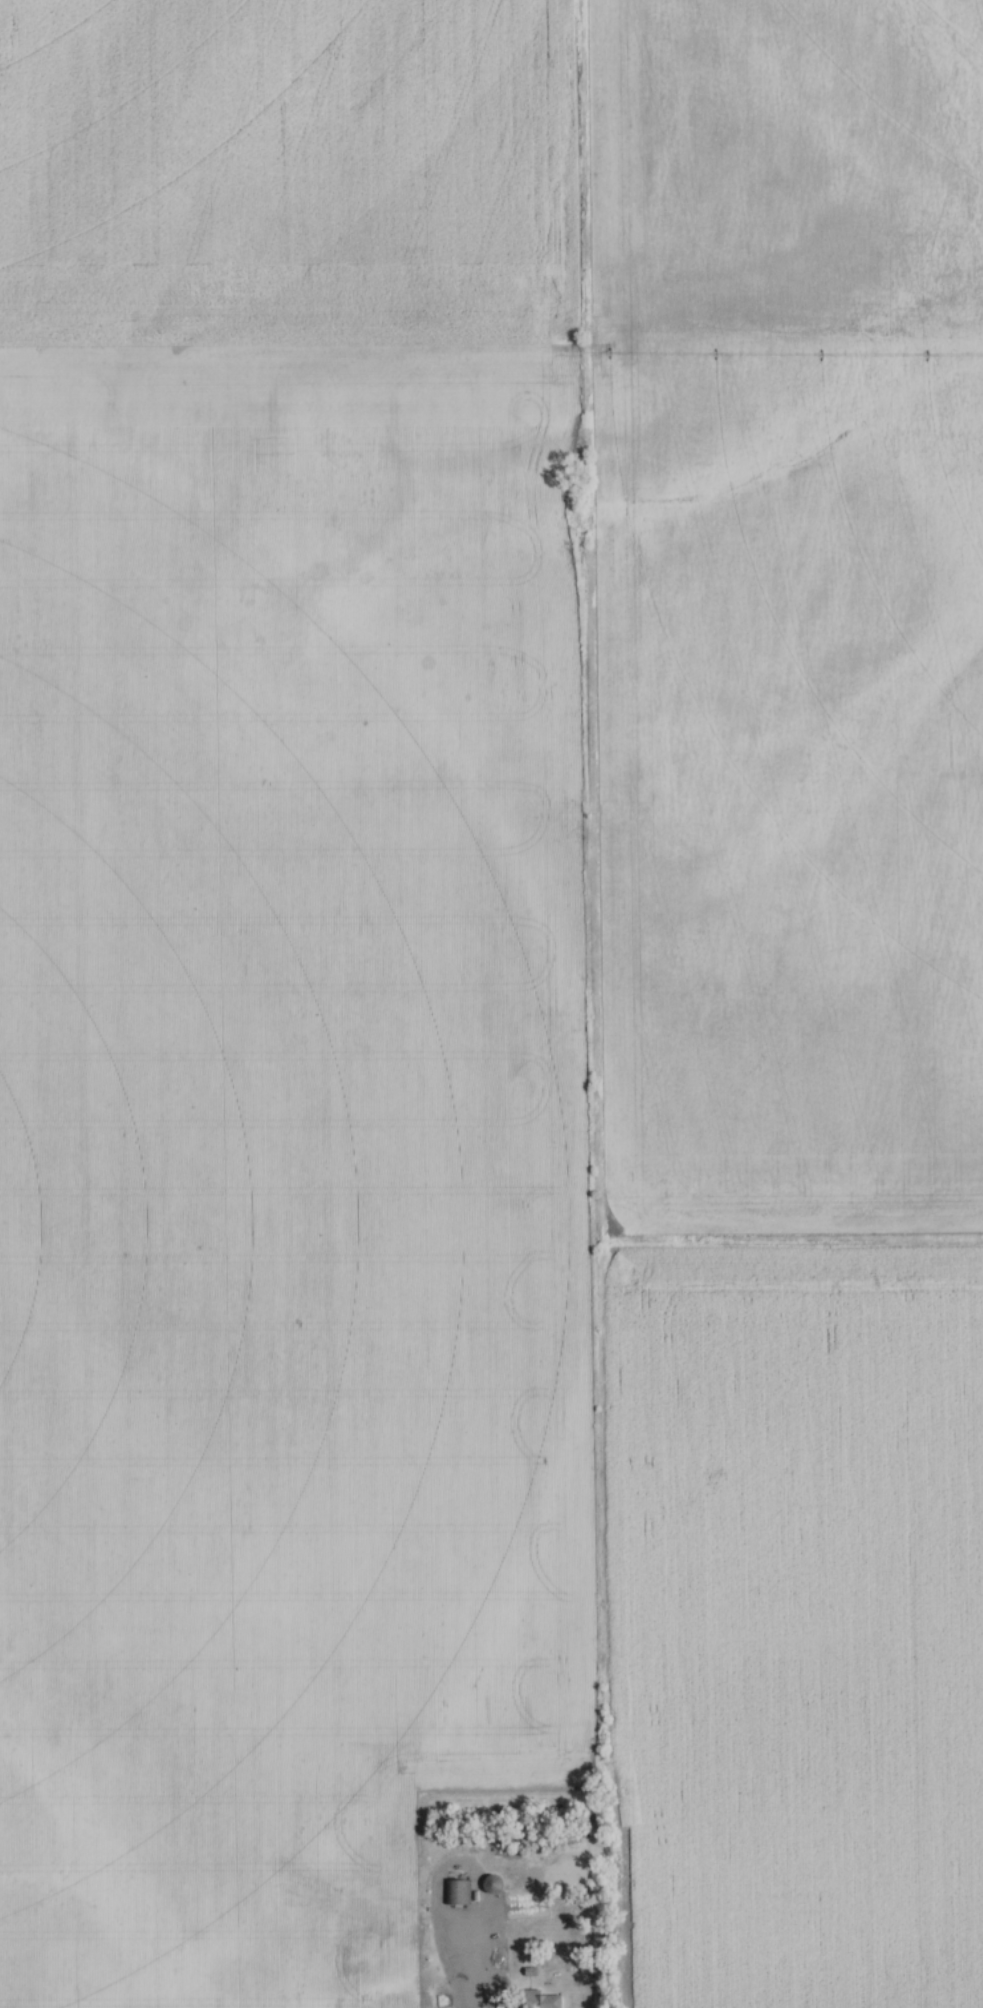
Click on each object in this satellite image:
building: (488, 1884)
building: (455, 1892)
building: (536, 1999)

